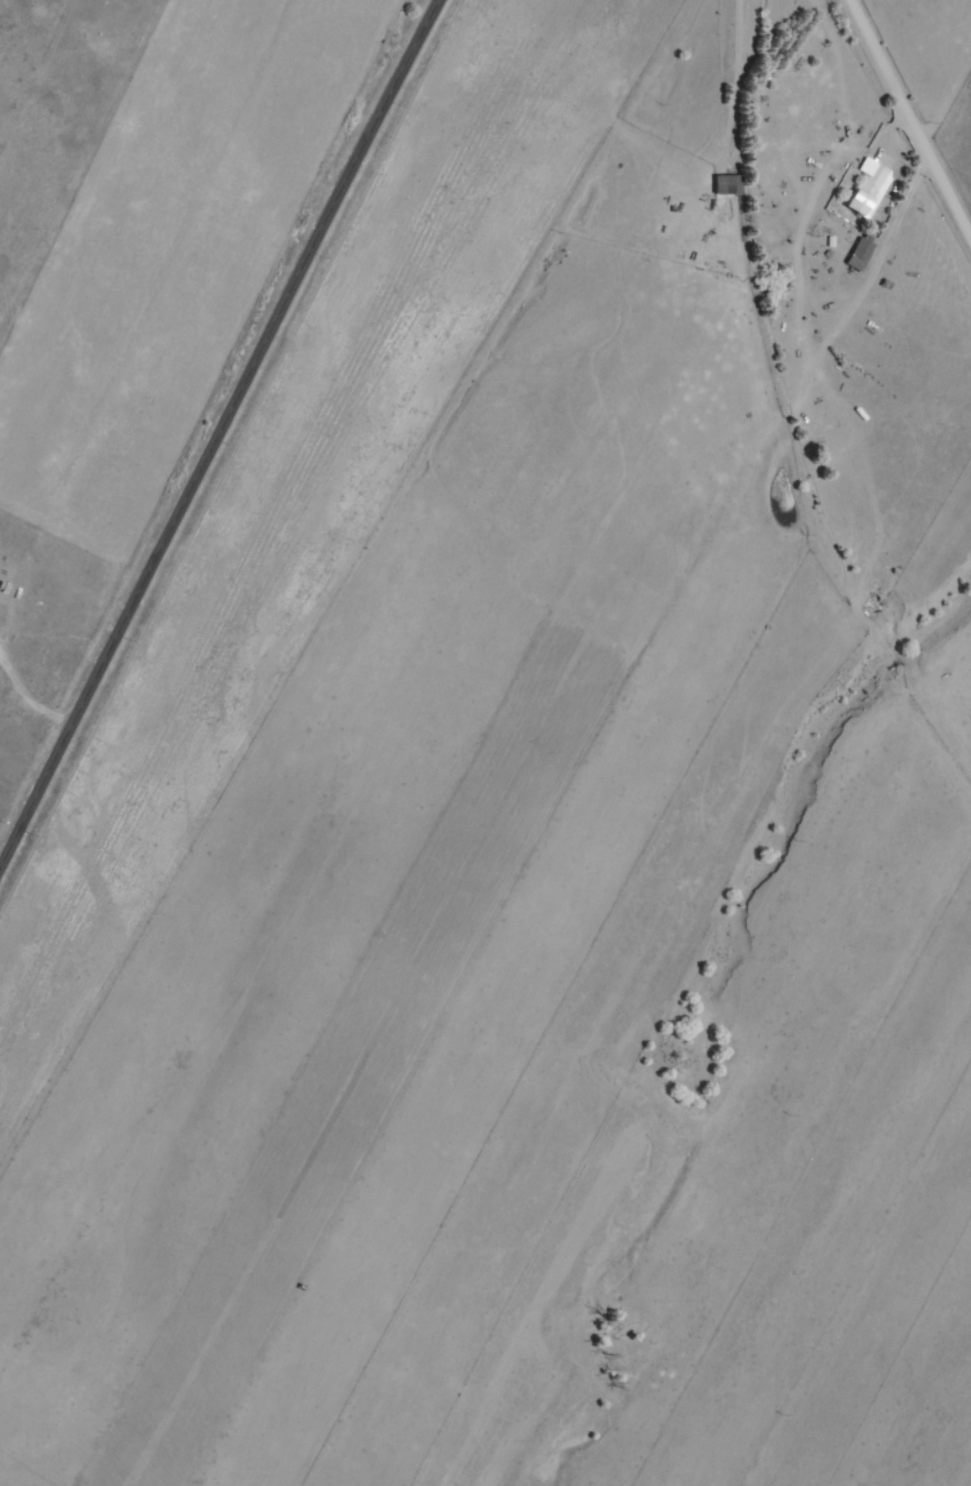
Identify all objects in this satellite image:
road: (924, 89)
building: (723, 185)
building: (866, 187)
building: (856, 255)
road: (217, 431)

